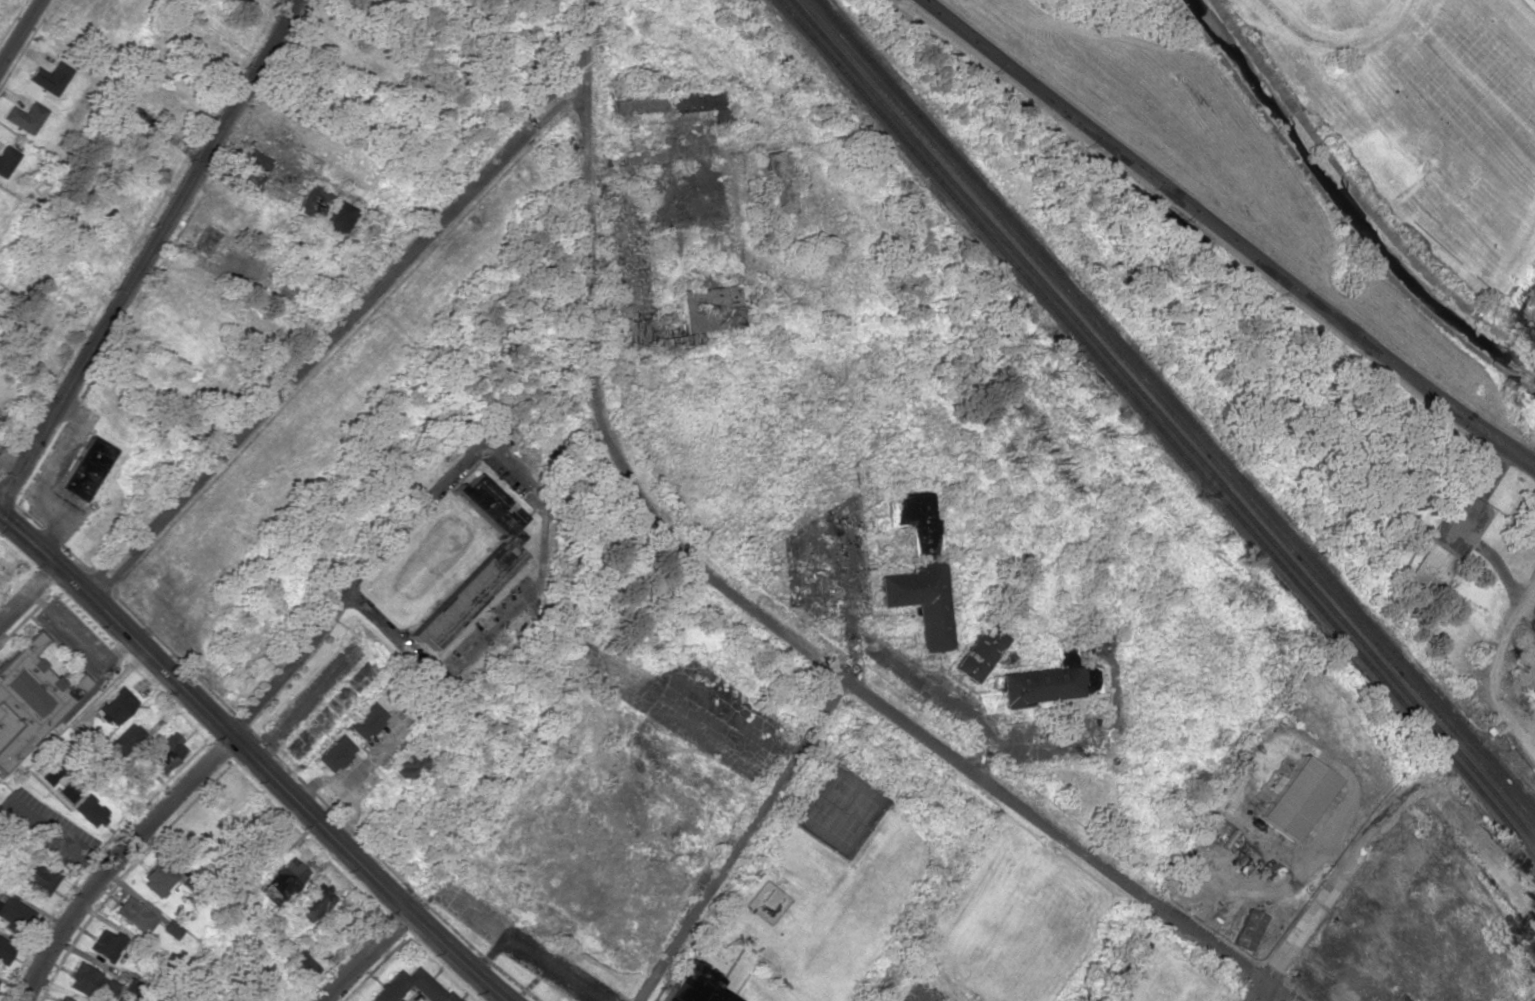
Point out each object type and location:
road: (19, 31)
building: (48, 77)
road: (114, 92)
building: (696, 103)
building: (631, 105)
building: (24, 117)
building: (6, 159)
building: (251, 164)
building: (774, 182)
building: (310, 203)
building: (334, 216)
road: (1229, 234)
road: (149, 256)
building: (705, 308)
road: (334, 334)
railway: (1163, 421)
railway: (1157, 428)
building: (86, 468)
building: (486, 505)
traffic signals: (0, 514)
building: (913, 522)
building: (512, 537)
road: (373, 561)
building: (1432, 571)
building: (468, 592)
road: (28, 595)
building: (920, 602)
road: (745, 607)
building: (976, 653)
road: (452, 669)
building: (1043, 684)
building: (29, 699)
building: (112, 705)
building: (364, 721)
building: (124, 738)
building: (165, 748)
building: (332, 754)
road: (251, 759)
building: (409, 766)
building: (50, 774)
building: (65, 791)
building: (1293, 797)
park: (839, 810)
building: (89, 811)
road: (740, 841)
road: (121, 865)
building: (36, 876)
building: (157, 879)
building: (282, 880)
building: (313, 900)
building: (14, 912)
building: (133, 914)
building: (1247, 929)
building: (105, 944)
building: (4, 951)
road: (368, 956)
building: (304, 964)
building: (90, 983)
building: (690, 984)
building: (421, 987)
park: (920, 993)
road: (1257, 994)
building: (719, 995)
building: (63, 998)

